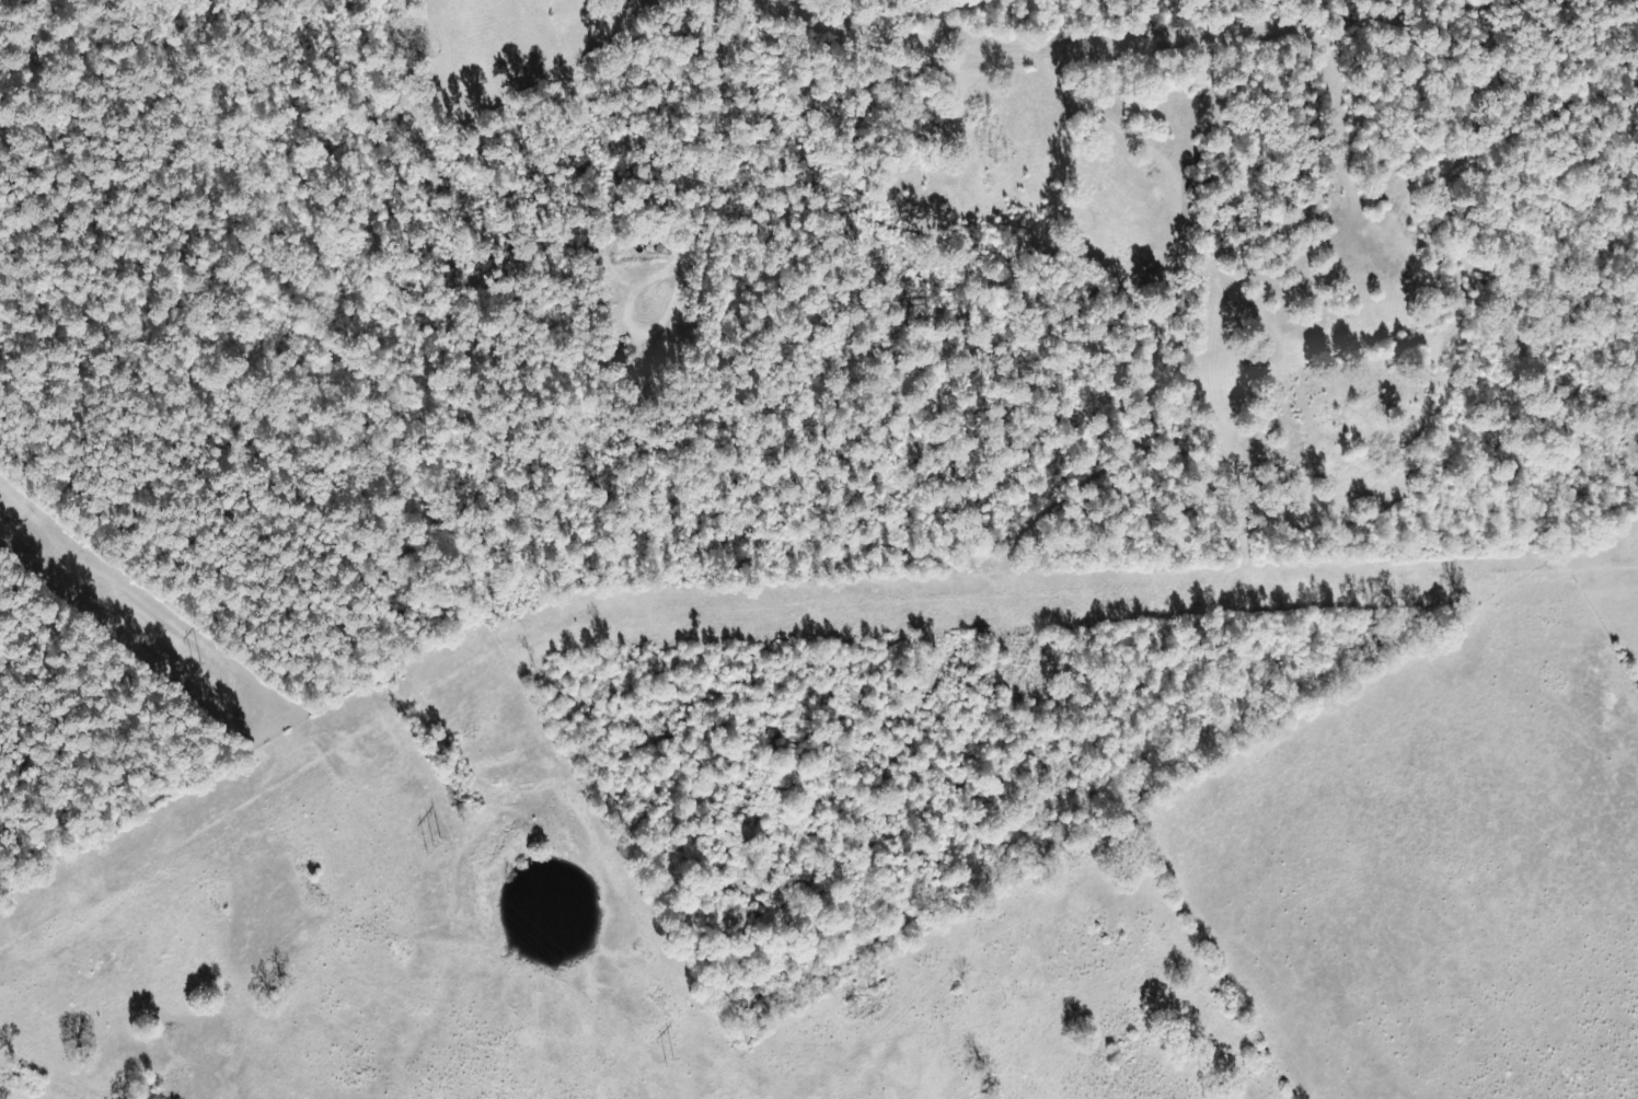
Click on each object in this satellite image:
power tower: (196, 676)
power tower: (431, 847)
power tower: (670, 1063)

